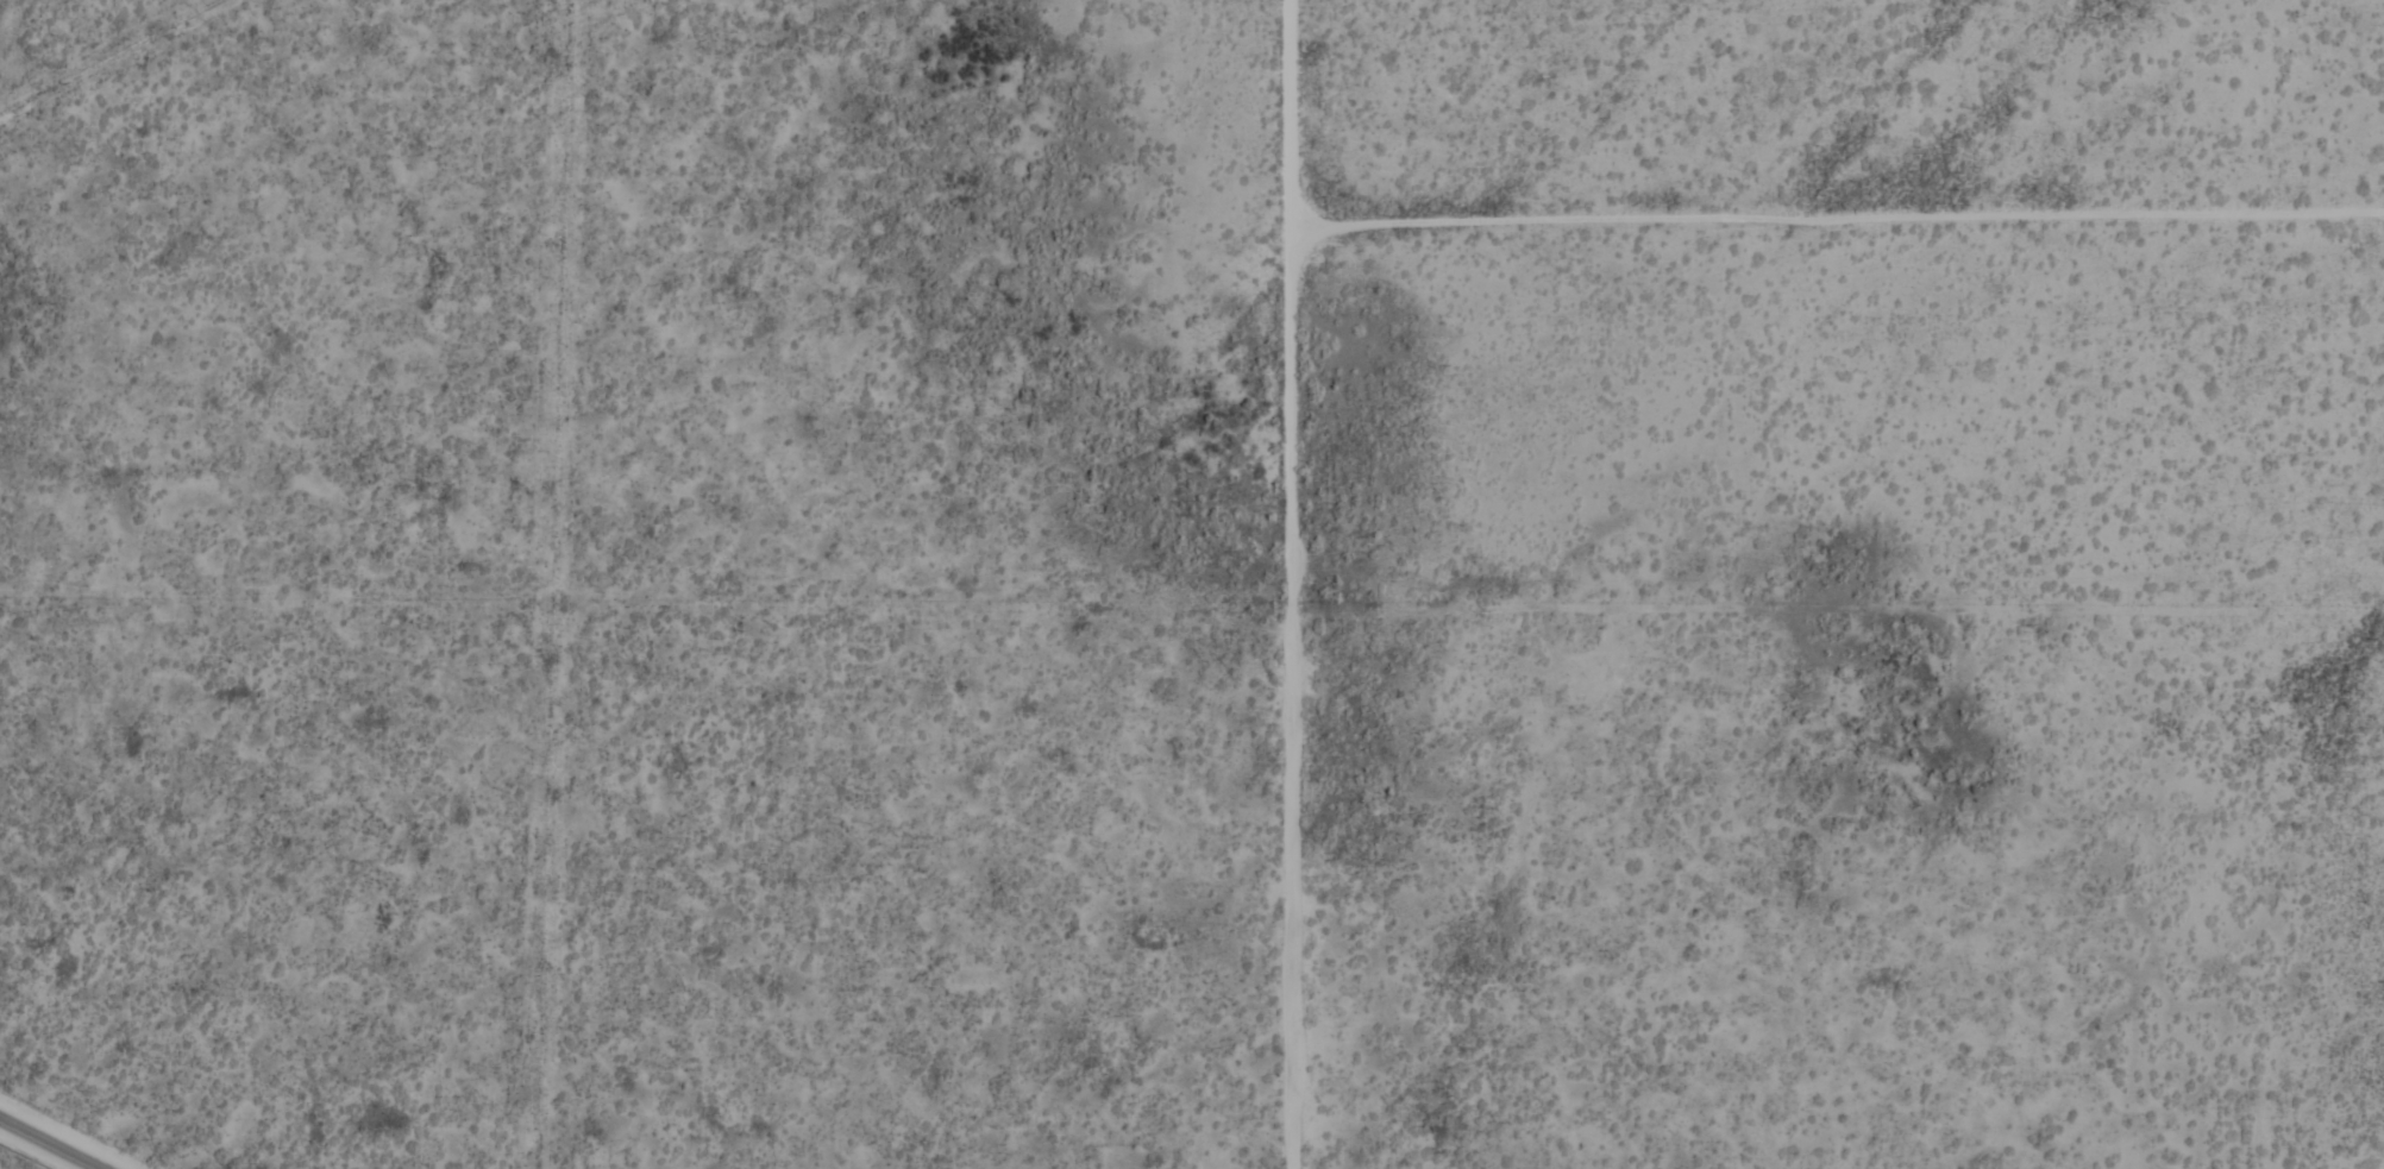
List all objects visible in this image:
road: (1837, 219)
road: (1293, 584)
road: (51, 1143)

